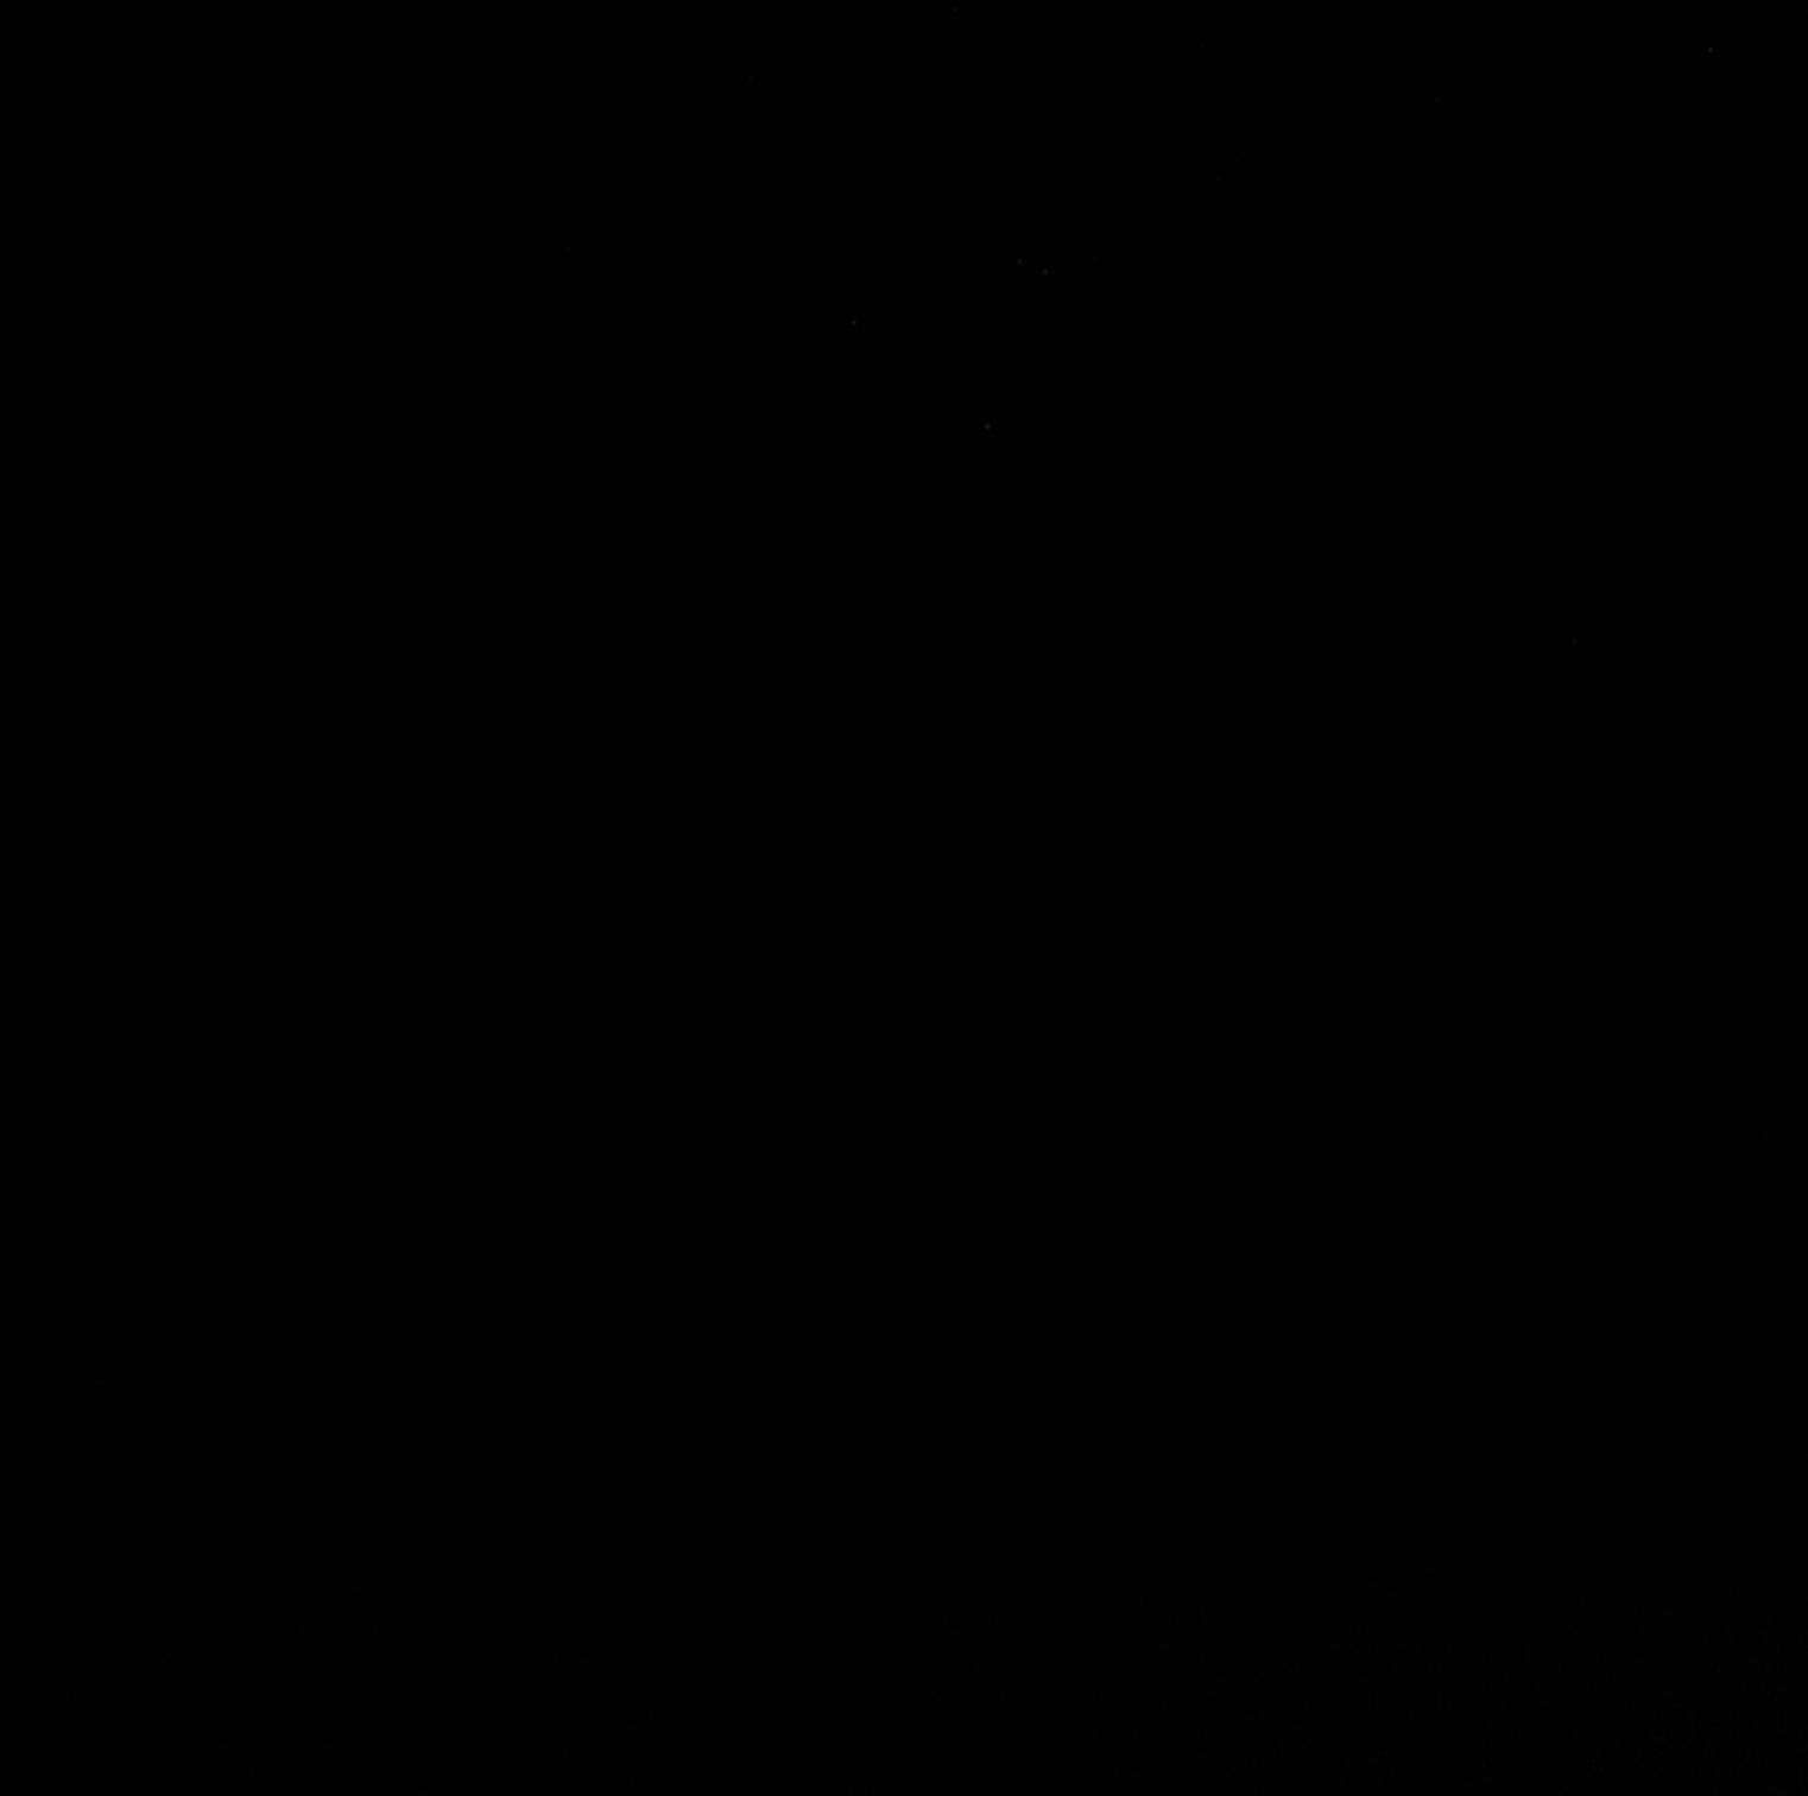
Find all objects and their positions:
river: (848, 1357)

